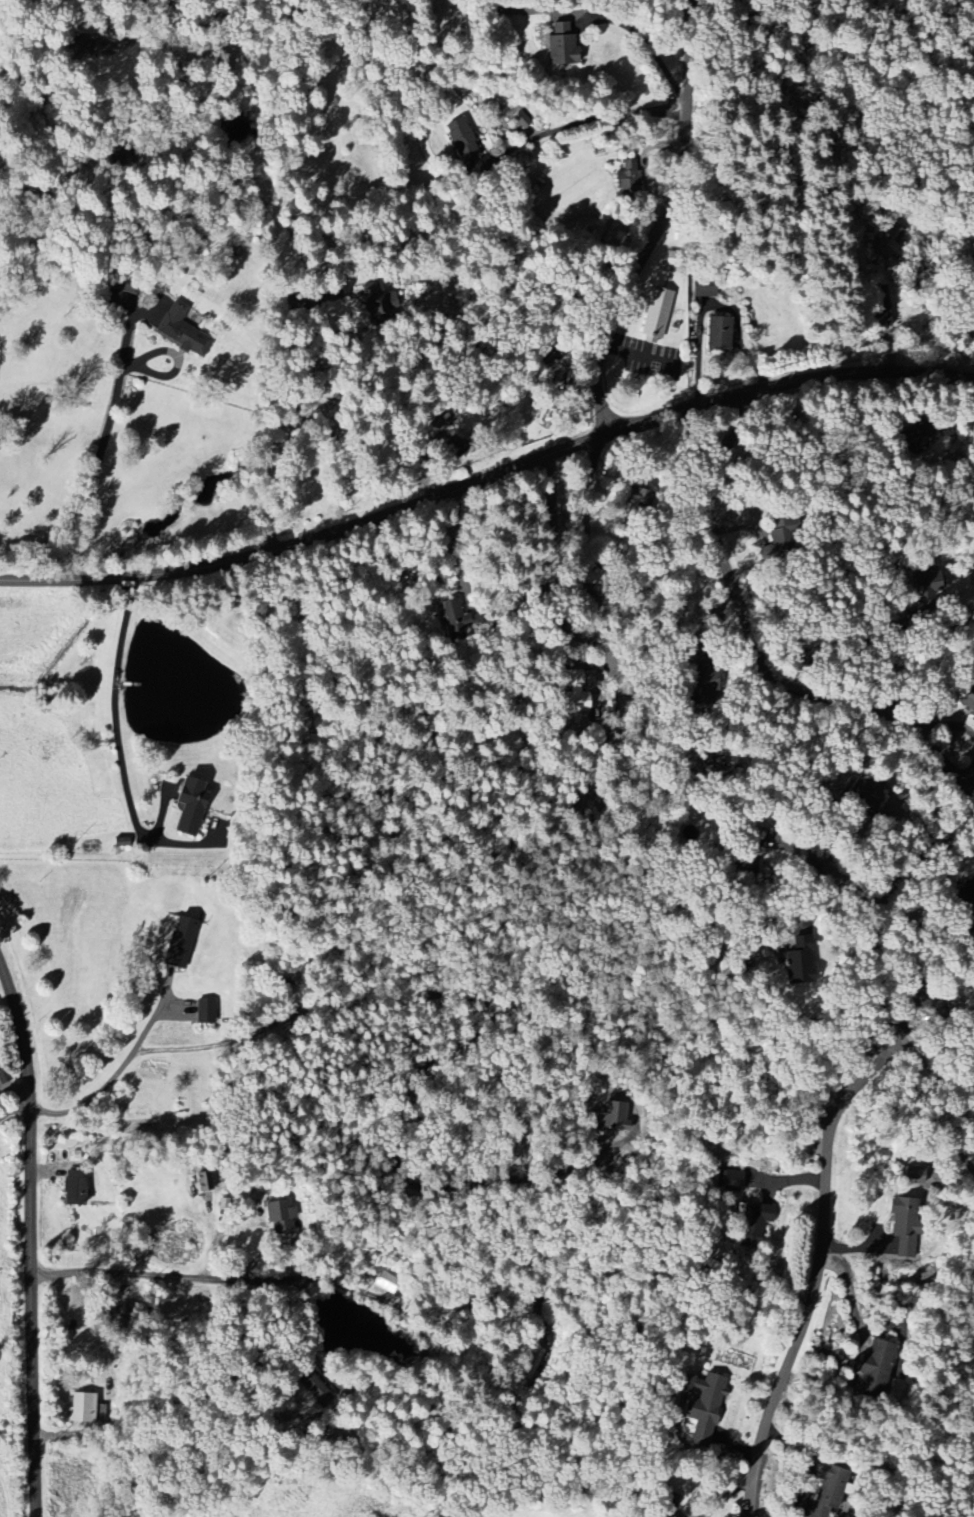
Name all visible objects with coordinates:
road: (680, 1)
road: (213, 14)
road: (138, 34)
road: (644, 40)
building: (559, 46)
building: (77, 51)
building: (521, 120)
road: (576, 122)
road: (804, 125)
building: (461, 140)
building: (625, 182)
road: (661, 222)
building: (702, 287)
building: (376, 301)
building: (295, 303)
road: (937, 309)
building: (655, 314)
building: (182, 332)
building: (717, 334)
road: (296, 416)
road: (108, 418)
building: (916, 438)
road: (426, 457)
road: (487, 475)
road: (445, 538)
building: (928, 585)
road: (922, 661)
building: (967, 702)
road: (881, 713)
road: (117, 723)
building: (866, 795)
building: (188, 806)
building: (746, 852)
road: (825, 868)
building: (965, 898)
building: (178, 943)
building: (797, 968)
building: (927, 1002)
road: (114, 1075)
road: (16, 1100)
road: (930, 1111)
building: (612, 1117)
building: (732, 1181)
building: (73, 1188)
building: (282, 1218)
building: (754, 1225)
building: (902, 1225)
road: (37, 1241)
road: (814, 1262)
road: (265, 1274)
building: (386, 1284)
building: (870, 1370)
building: (701, 1405)
building: (84, 1408)
building: (824, 1493)

